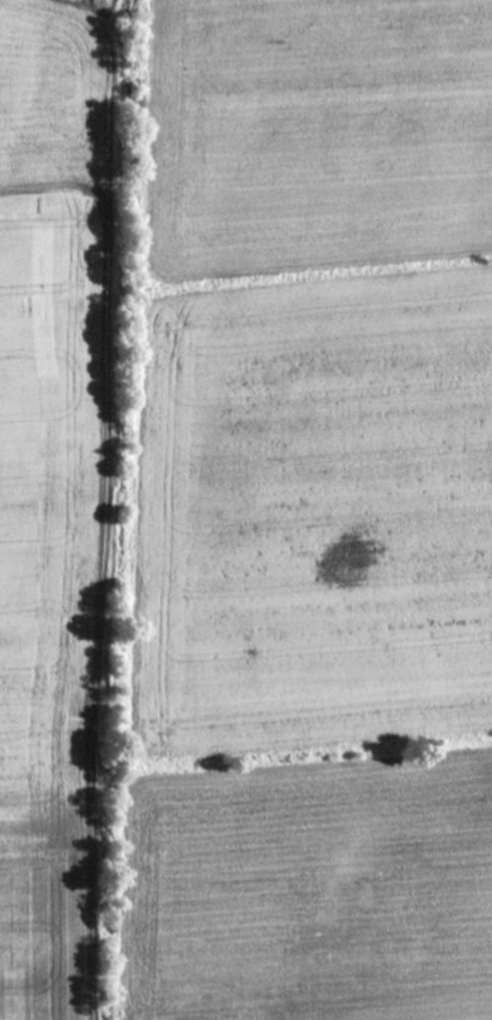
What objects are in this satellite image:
crop: (67, 481)
crop: (312, 520)

